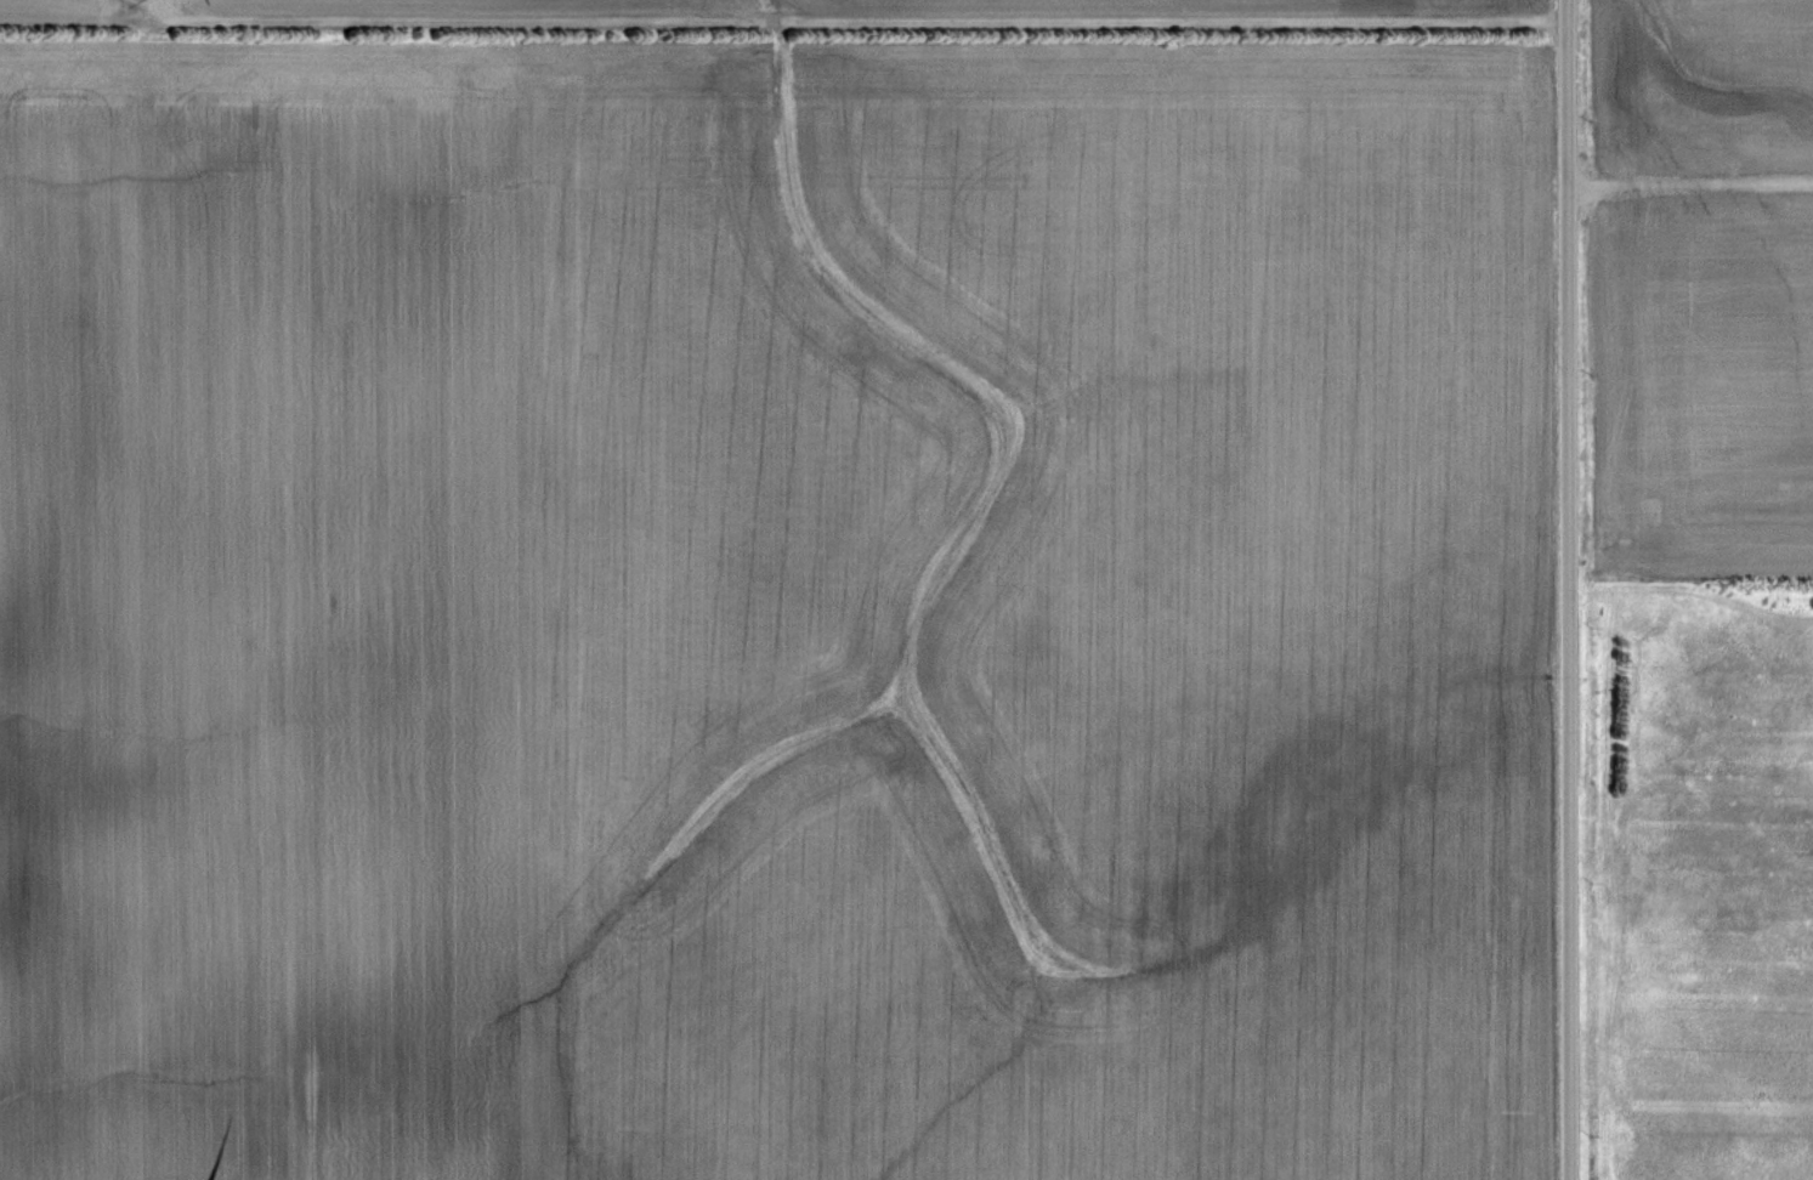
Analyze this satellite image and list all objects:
road: (1688, 186)
road: (1563, 590)

